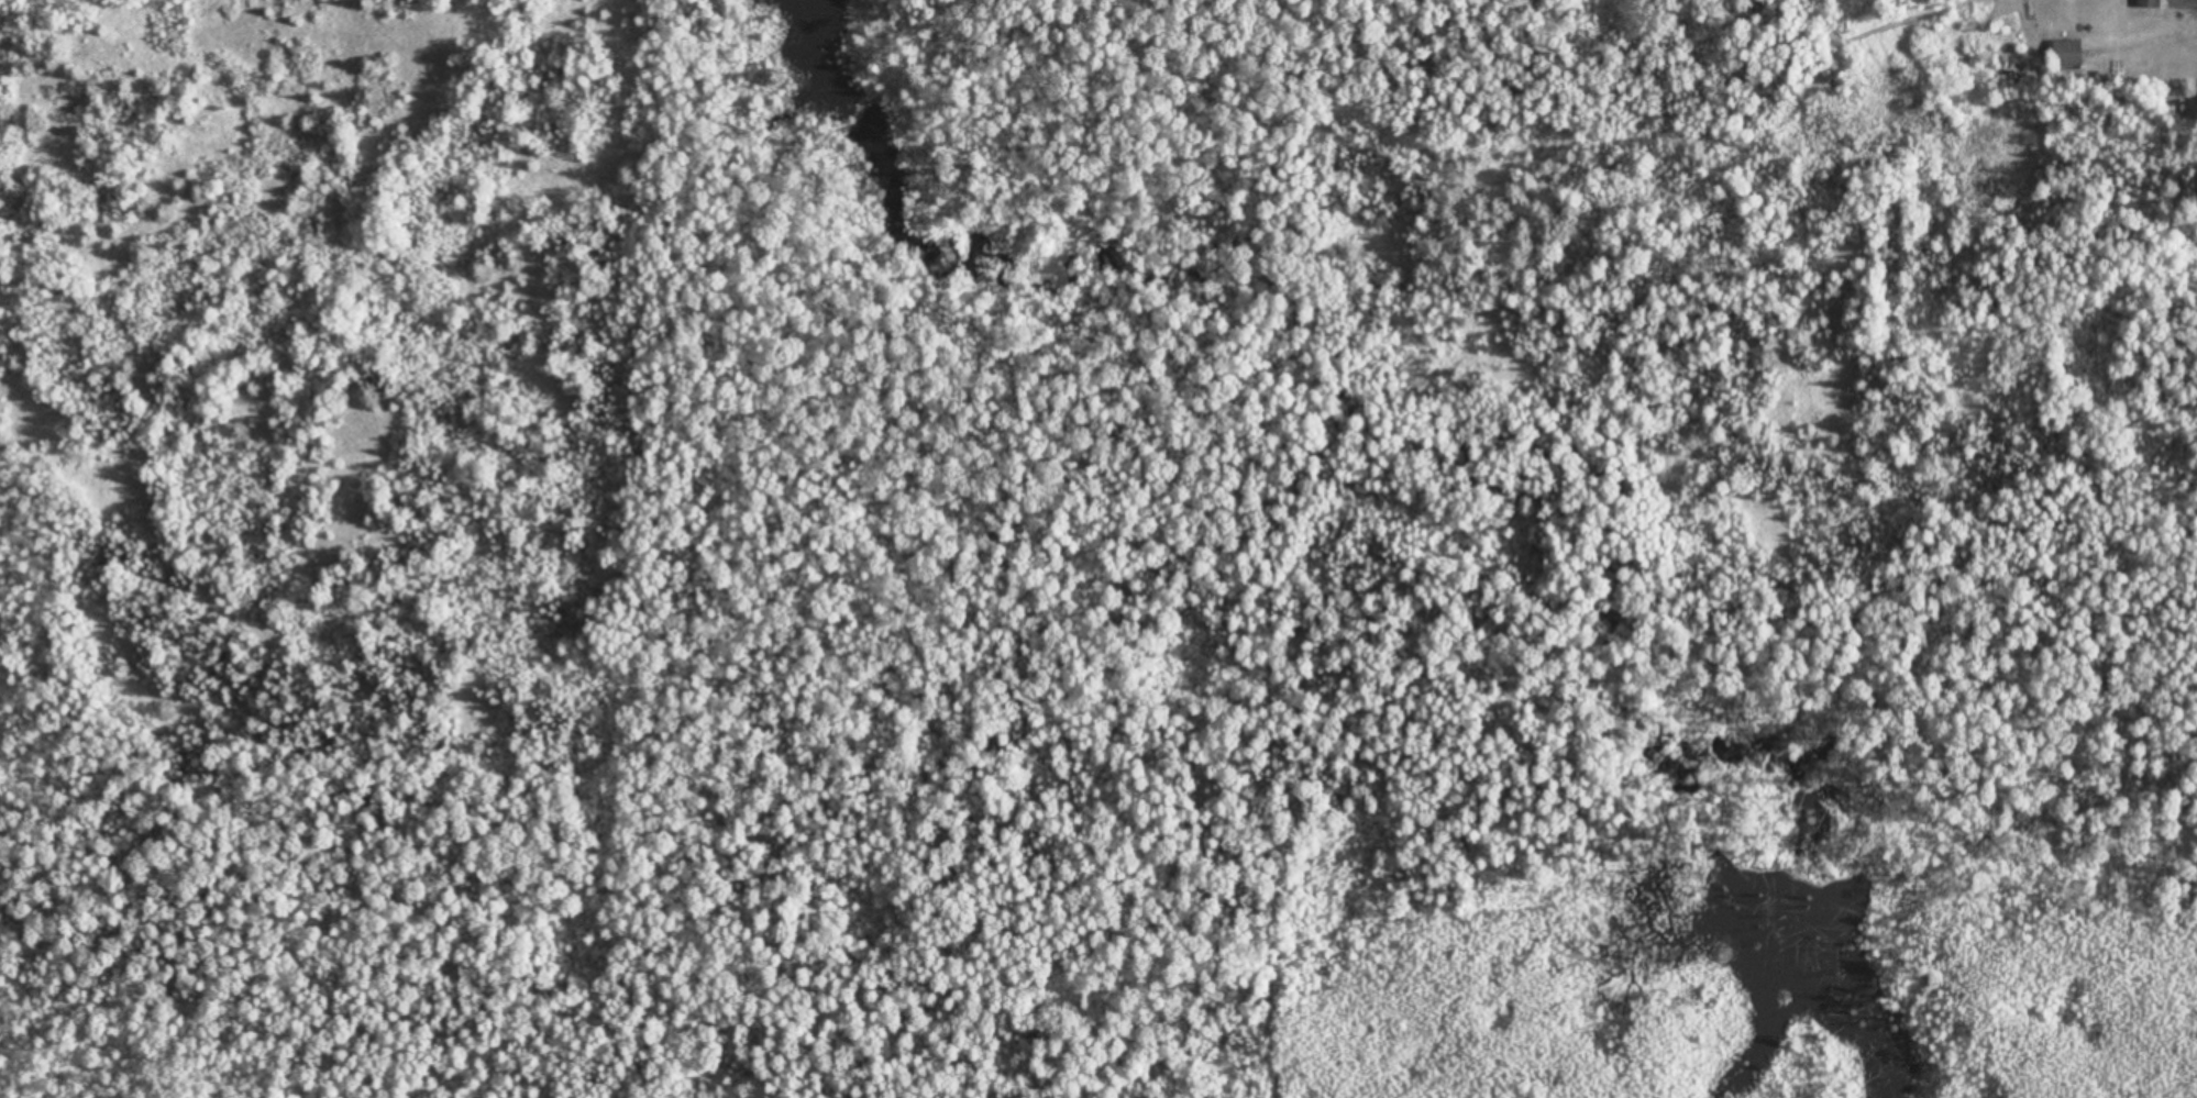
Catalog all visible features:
building: (2148, 3)
building: (2067, 53)

